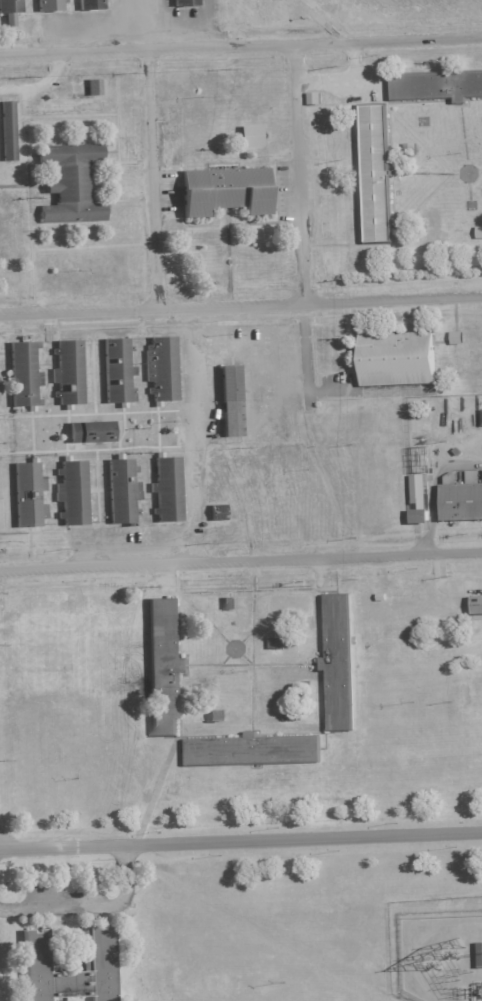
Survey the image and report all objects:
building: (184, 4)
building: (89, 5)
building: (49, 6)
building: (9, 11)
road: (146, 25)
road: (241, 48)
building: (437, 87)
building: (91, 88)
building: (317, 97)
building: (6, 131)
building: (249, 136)
building: (375, 174)
road: (297, 175)
road: (153, 179)
building: (69, 184)
building: (224, 192)
building: (480, 231)
road: (320, 302)
road: (79, 311)
building: (459, 336)
building: (397, 359)
building: (162, 369)
road: (306, 370)
building: (116, 371)
building: (68, 373)
building: (21, 374)
building: (232, 395)
building: (481, 415)
building: (89, 433)
road: (190, 435)
building: (420, 489)
building: (166, 490)
building: (119, 491)
road: (433, 491)
building: (72, 493)
building: (26, 494)
building: (461, 498)
building: (220, 511)
building: (422, 514)
road: (241, 562)
building: (231, 603)
building: (478, 604)
building: (277, 642)
building: (337, 663)
building: (162, 667)
building: (216, 715)
building: (252, 751)
road: (241, 841)
power tower: (453, 948)
building: (96, 952)
building: (480, 952)
power substation: (442, 957)
power tower: (435, 960)

